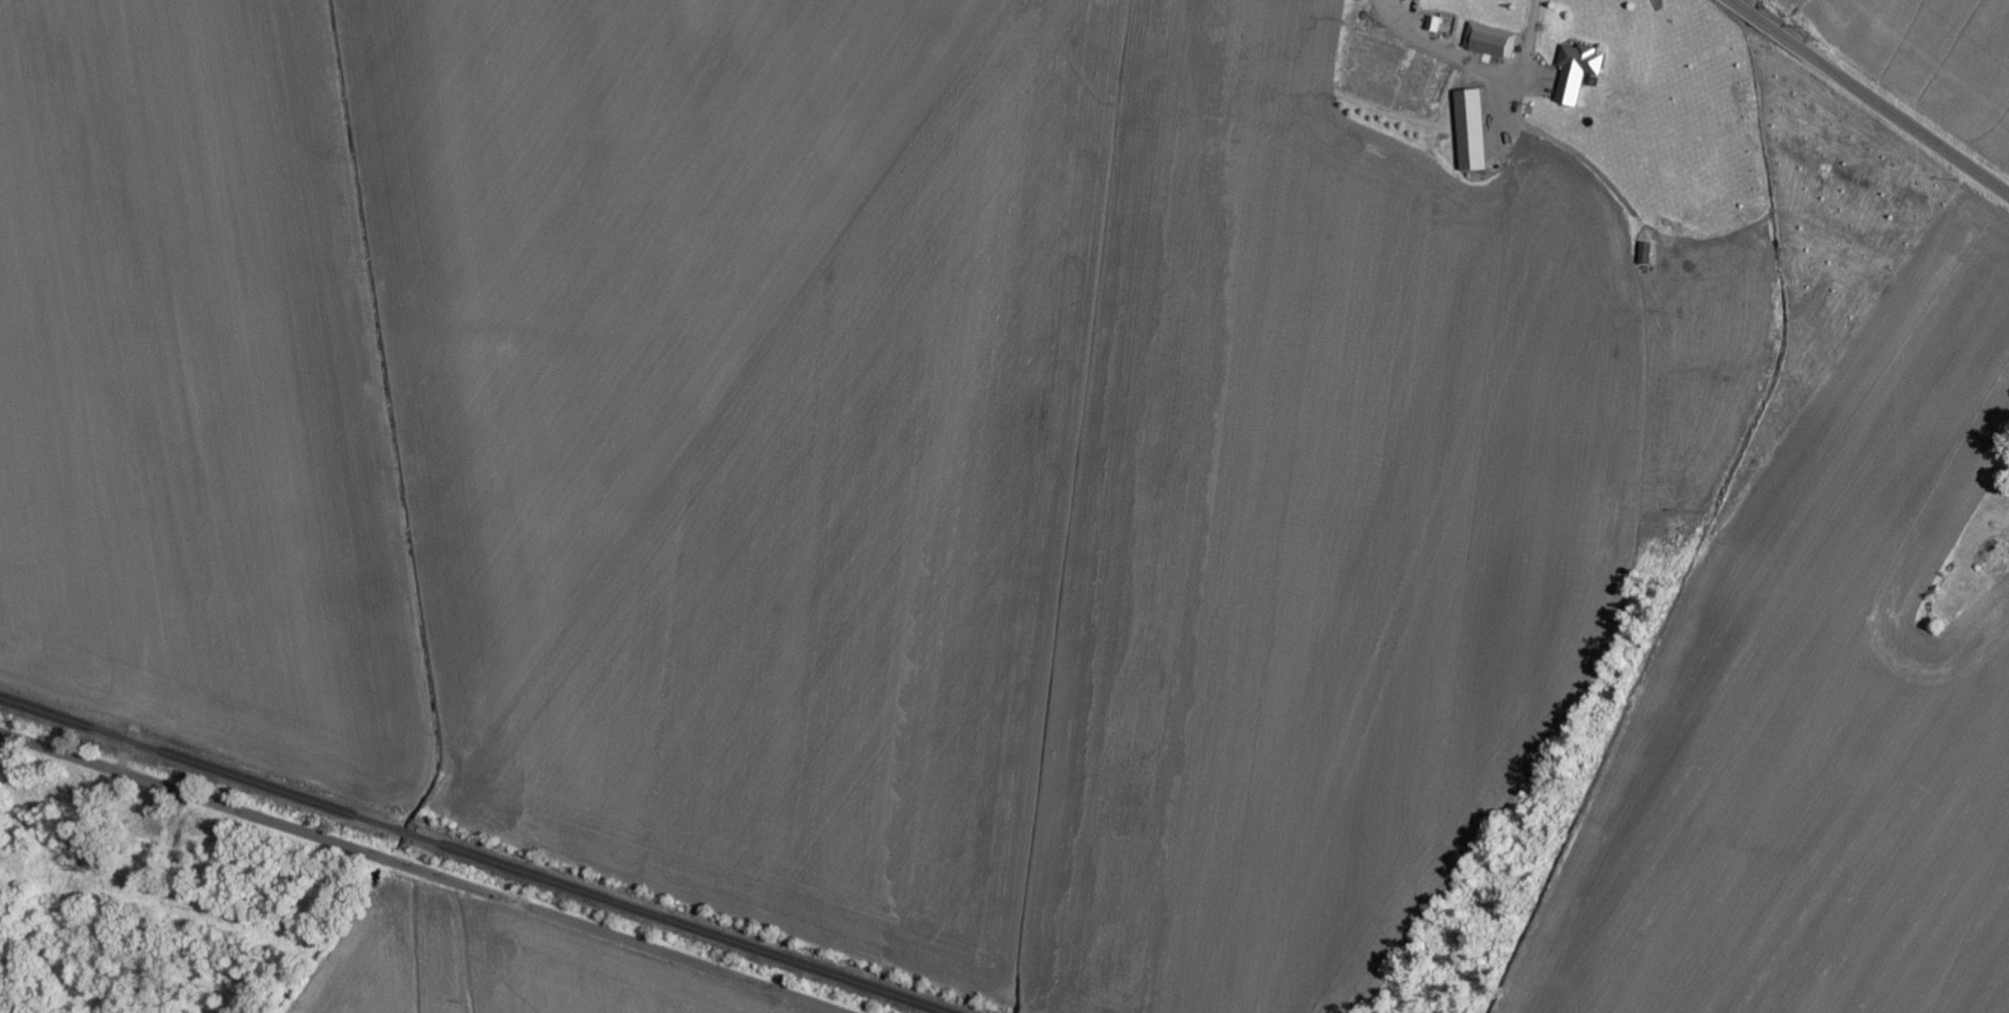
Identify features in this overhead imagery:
building: (1436, 24)
building: (1493, 41)
road: (1476, 67)
building: (1580, 73)
road: (1869, 97)
building: (1473, 131)
building: (1648, 254)
railway: (197, 763)
railway: (405, 833)
road: (420, 872)
railway: (682, 925)

